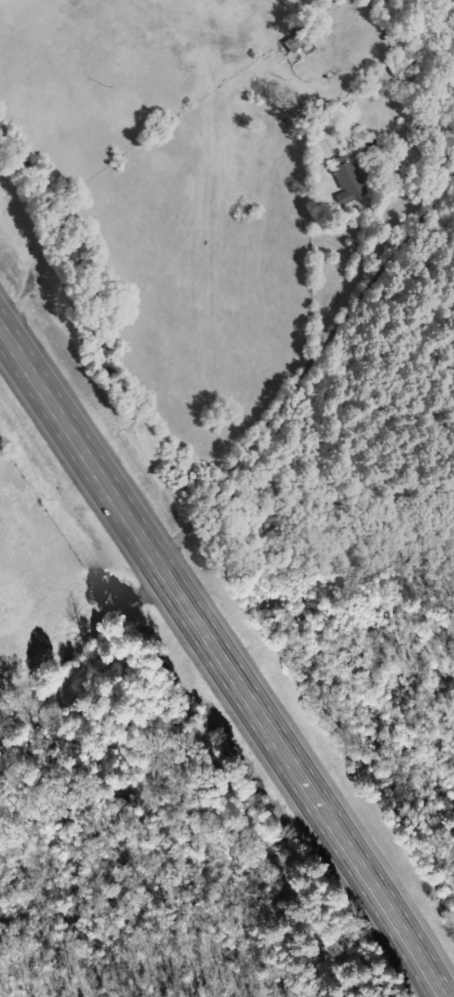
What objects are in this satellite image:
building: (404, 62)
building: (352, 176)
road: (163, 562)
road: (221, 661)

